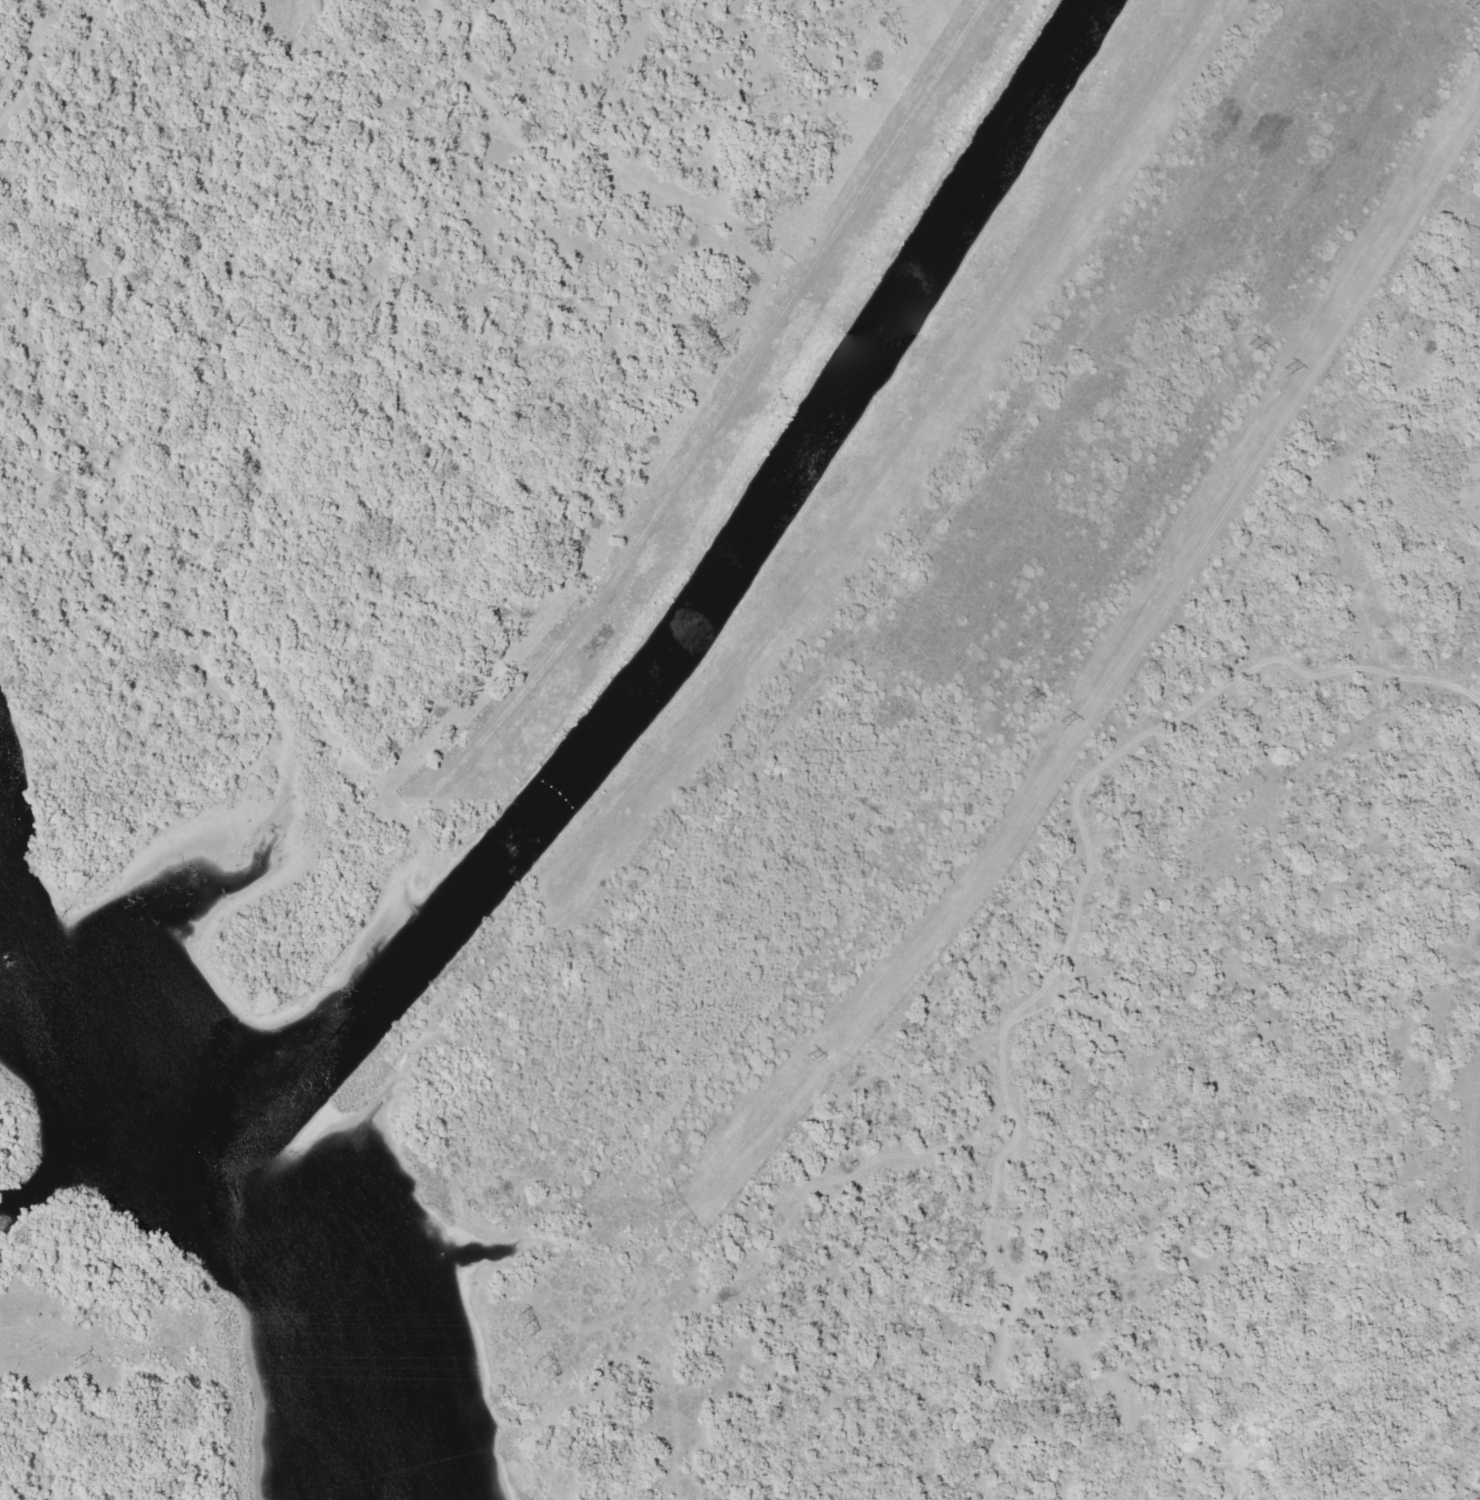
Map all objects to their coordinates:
power tower: (1465, 8)
power tower: (1250, 345)
power tower: (1287, 370)
road: (724, 408)
road: (914, 431)
power tower: (1025, 698)
power tower: (1063, 722)
road: (1022, 1007)
power tower: (773, 1031)
power tower: (808, 1057)
power tower: (74, 1320)
power tower: (521, 1325)
power tower: (73, 1363)
power tower: (540, 1370)
power plant: (119, 1394)

